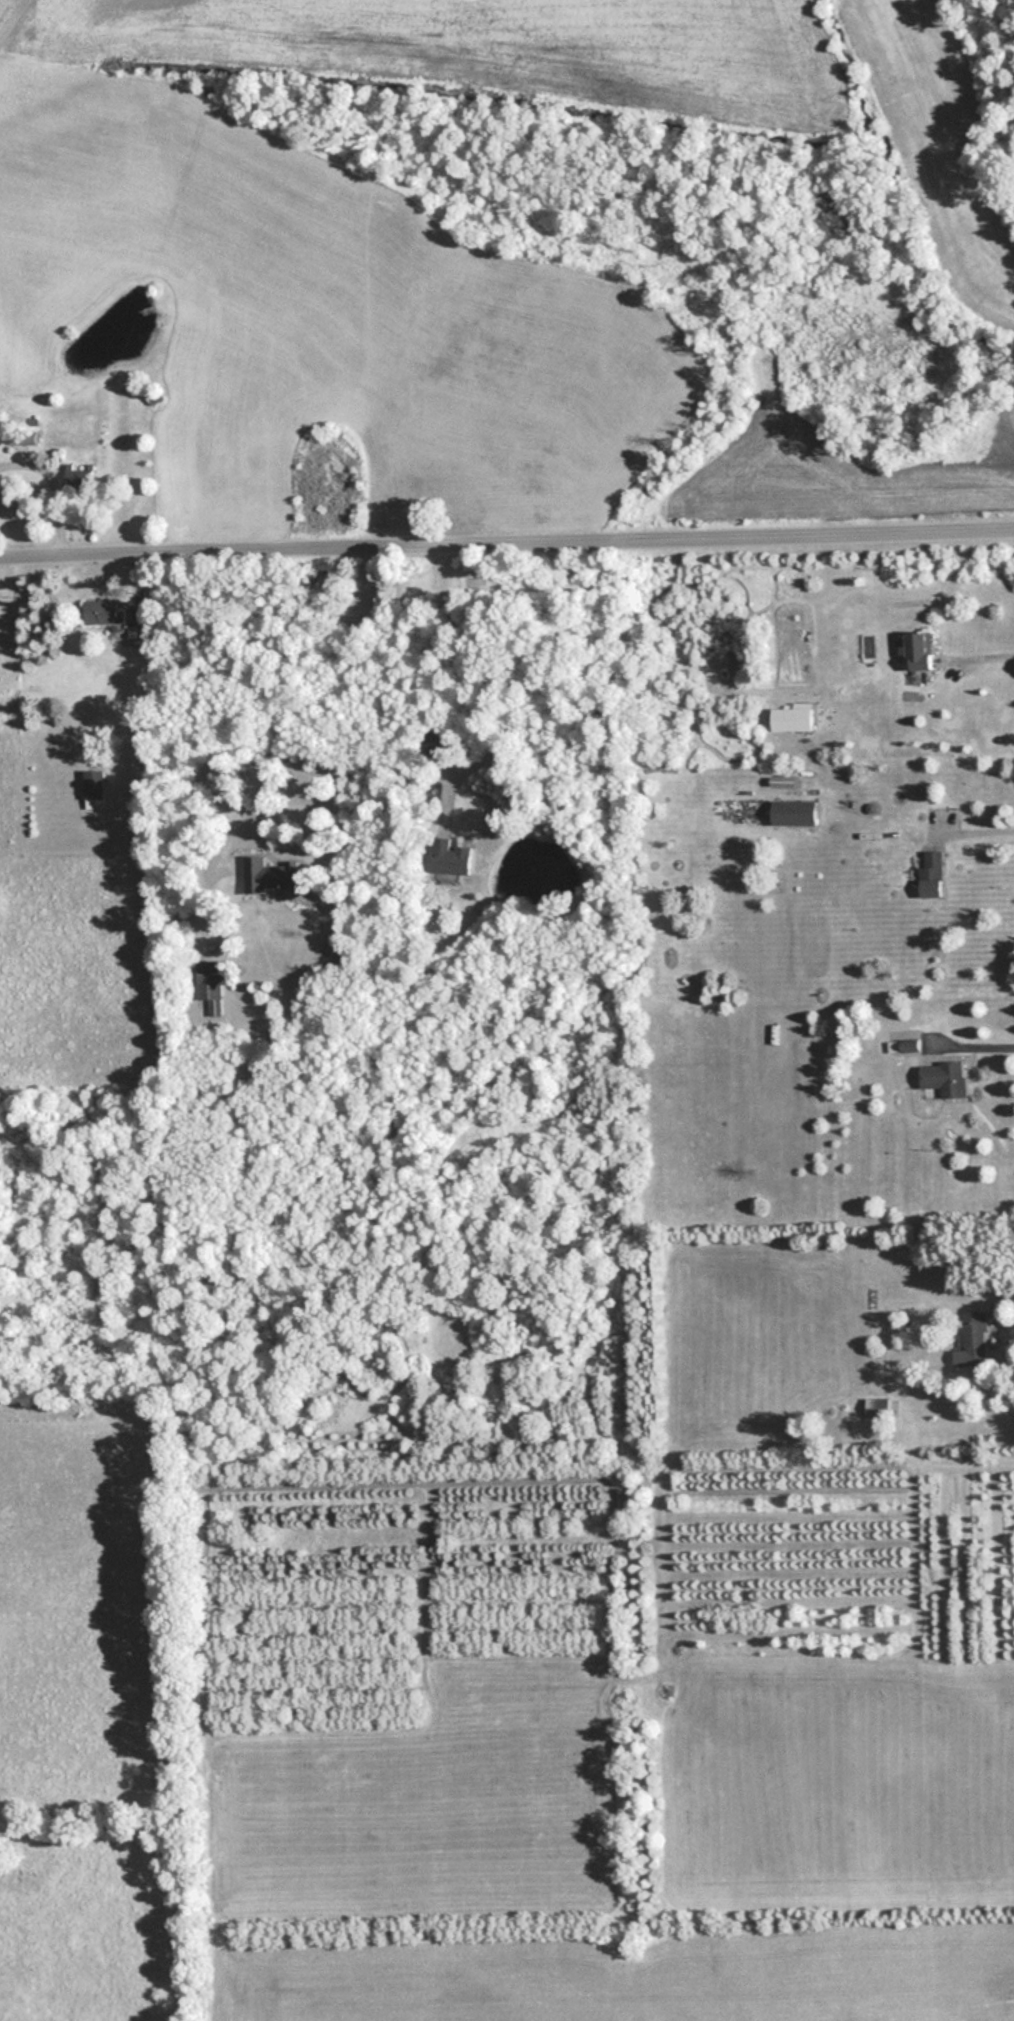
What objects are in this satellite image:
road: (8, 11)
building: (78, 478)
road: (49, 490)
road: (506, 542)
building: (103, 612)
building: (136, 628)
building: (918, 649)
road: (980, 656)
road: (311, 680)
road: (491, 682)
building: (791, 717)
building: (432, 743)
building: (94, 783)
building: (792, 812)
road: (974, 832)
building: (451, 857)
building: (931, 872)
building: (270, 873)
building: (211, 984)
road: (973, 1045)
building: (945, 1077)
building: (974, 1338)
road: (1008, 1360)
building: (876, 1407)

